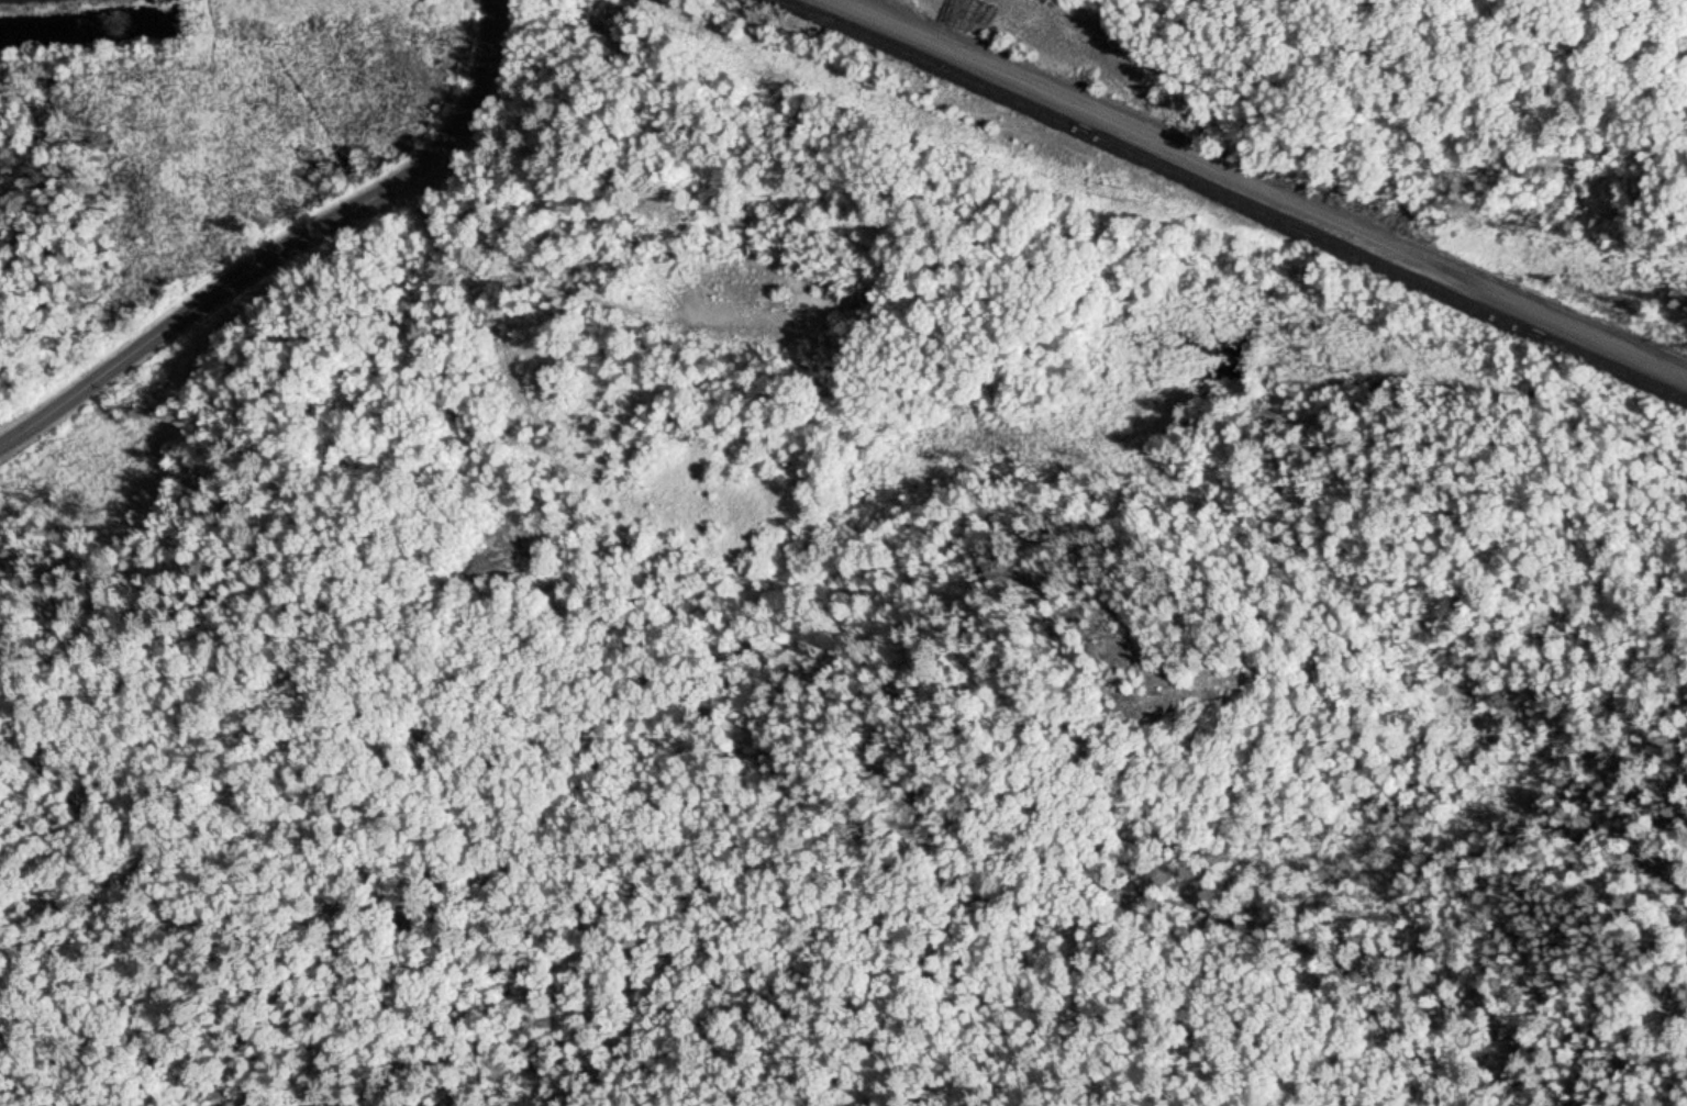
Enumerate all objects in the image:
road: (52, 3)
road: (1162, 224)
road: (288, 243)

